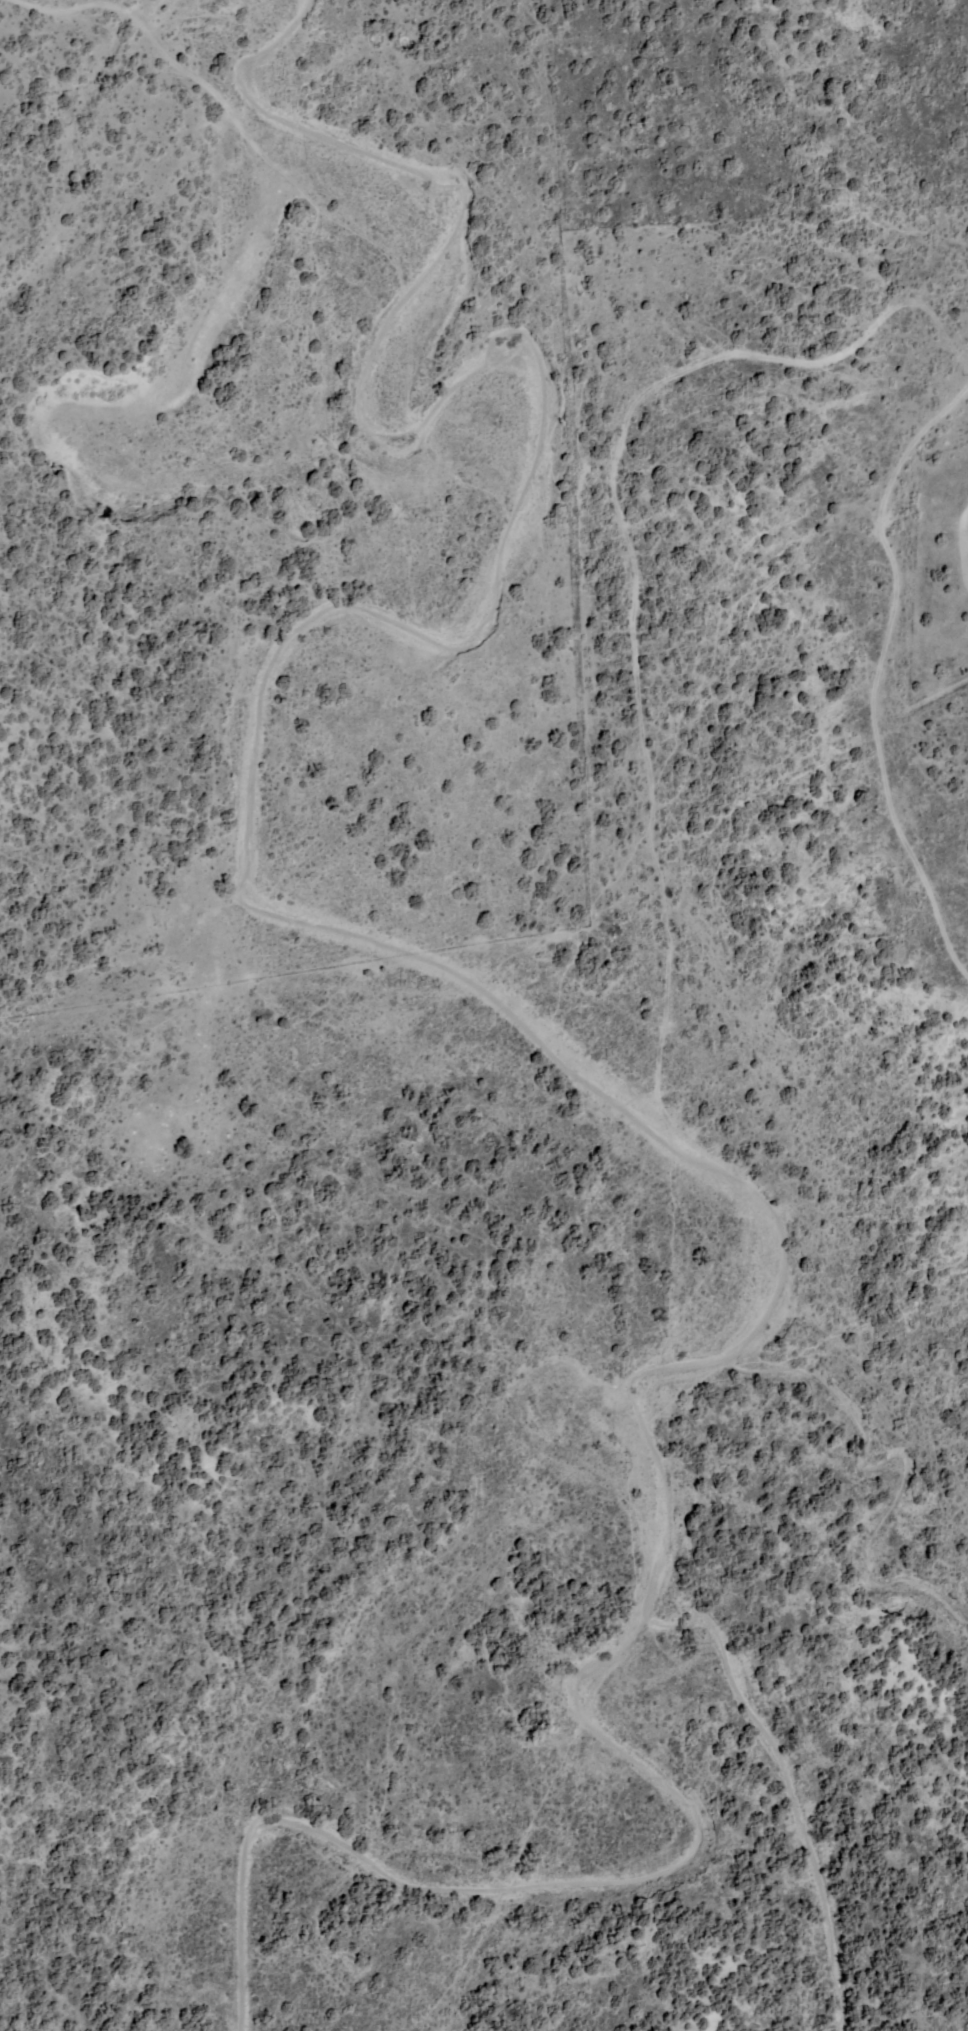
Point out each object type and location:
road: (138, 17)

